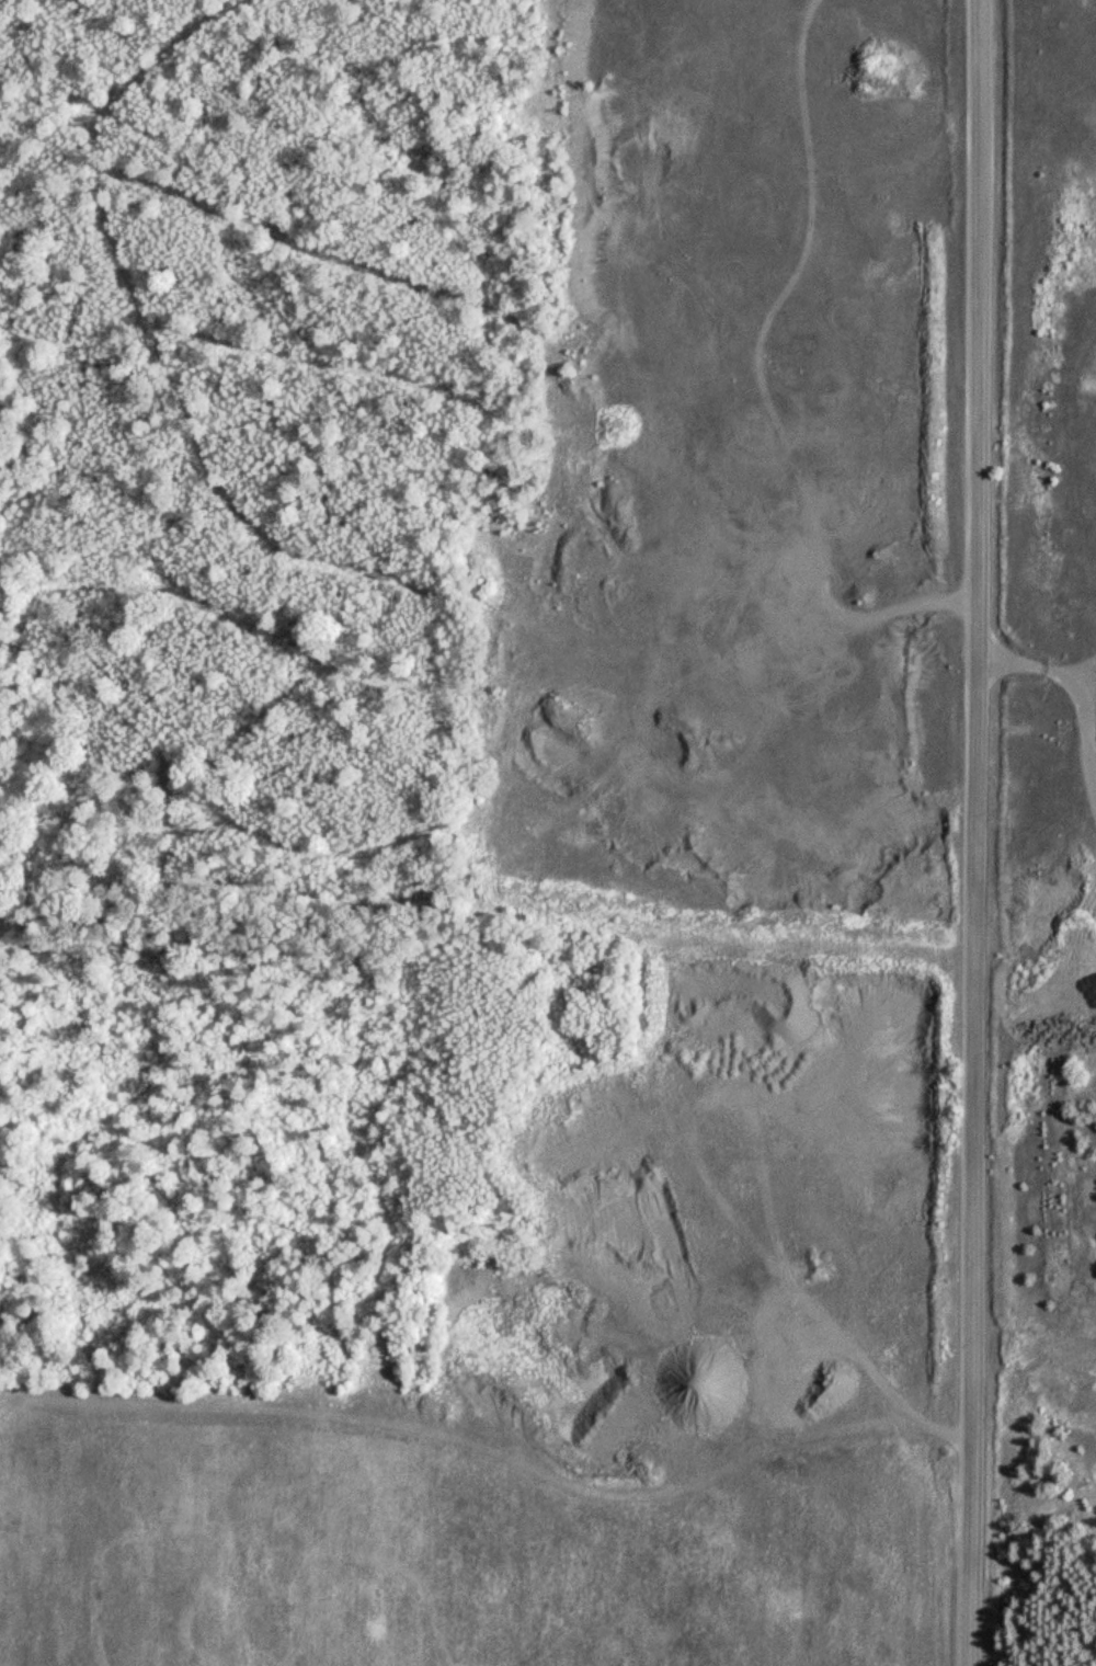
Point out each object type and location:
road: (974, 833)

